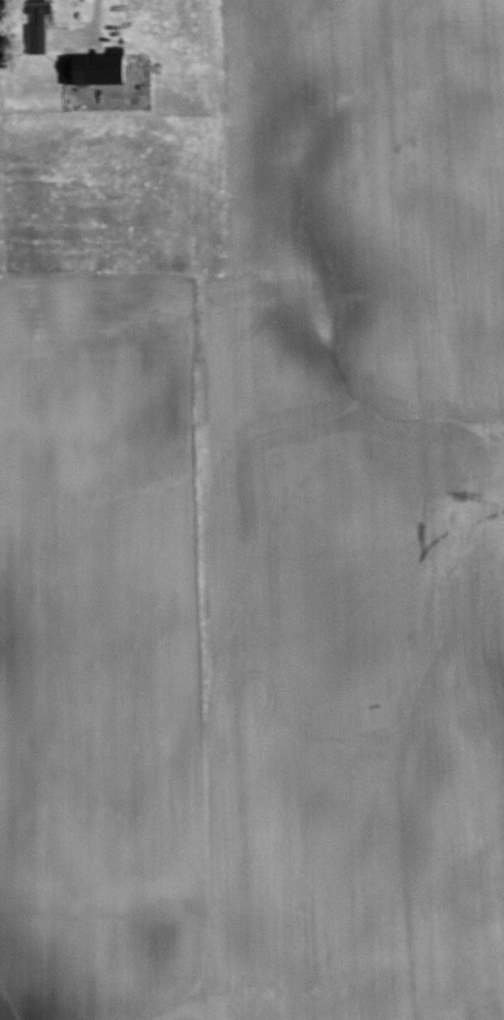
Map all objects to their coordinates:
building: (39, 26)
building: (96, 69)

